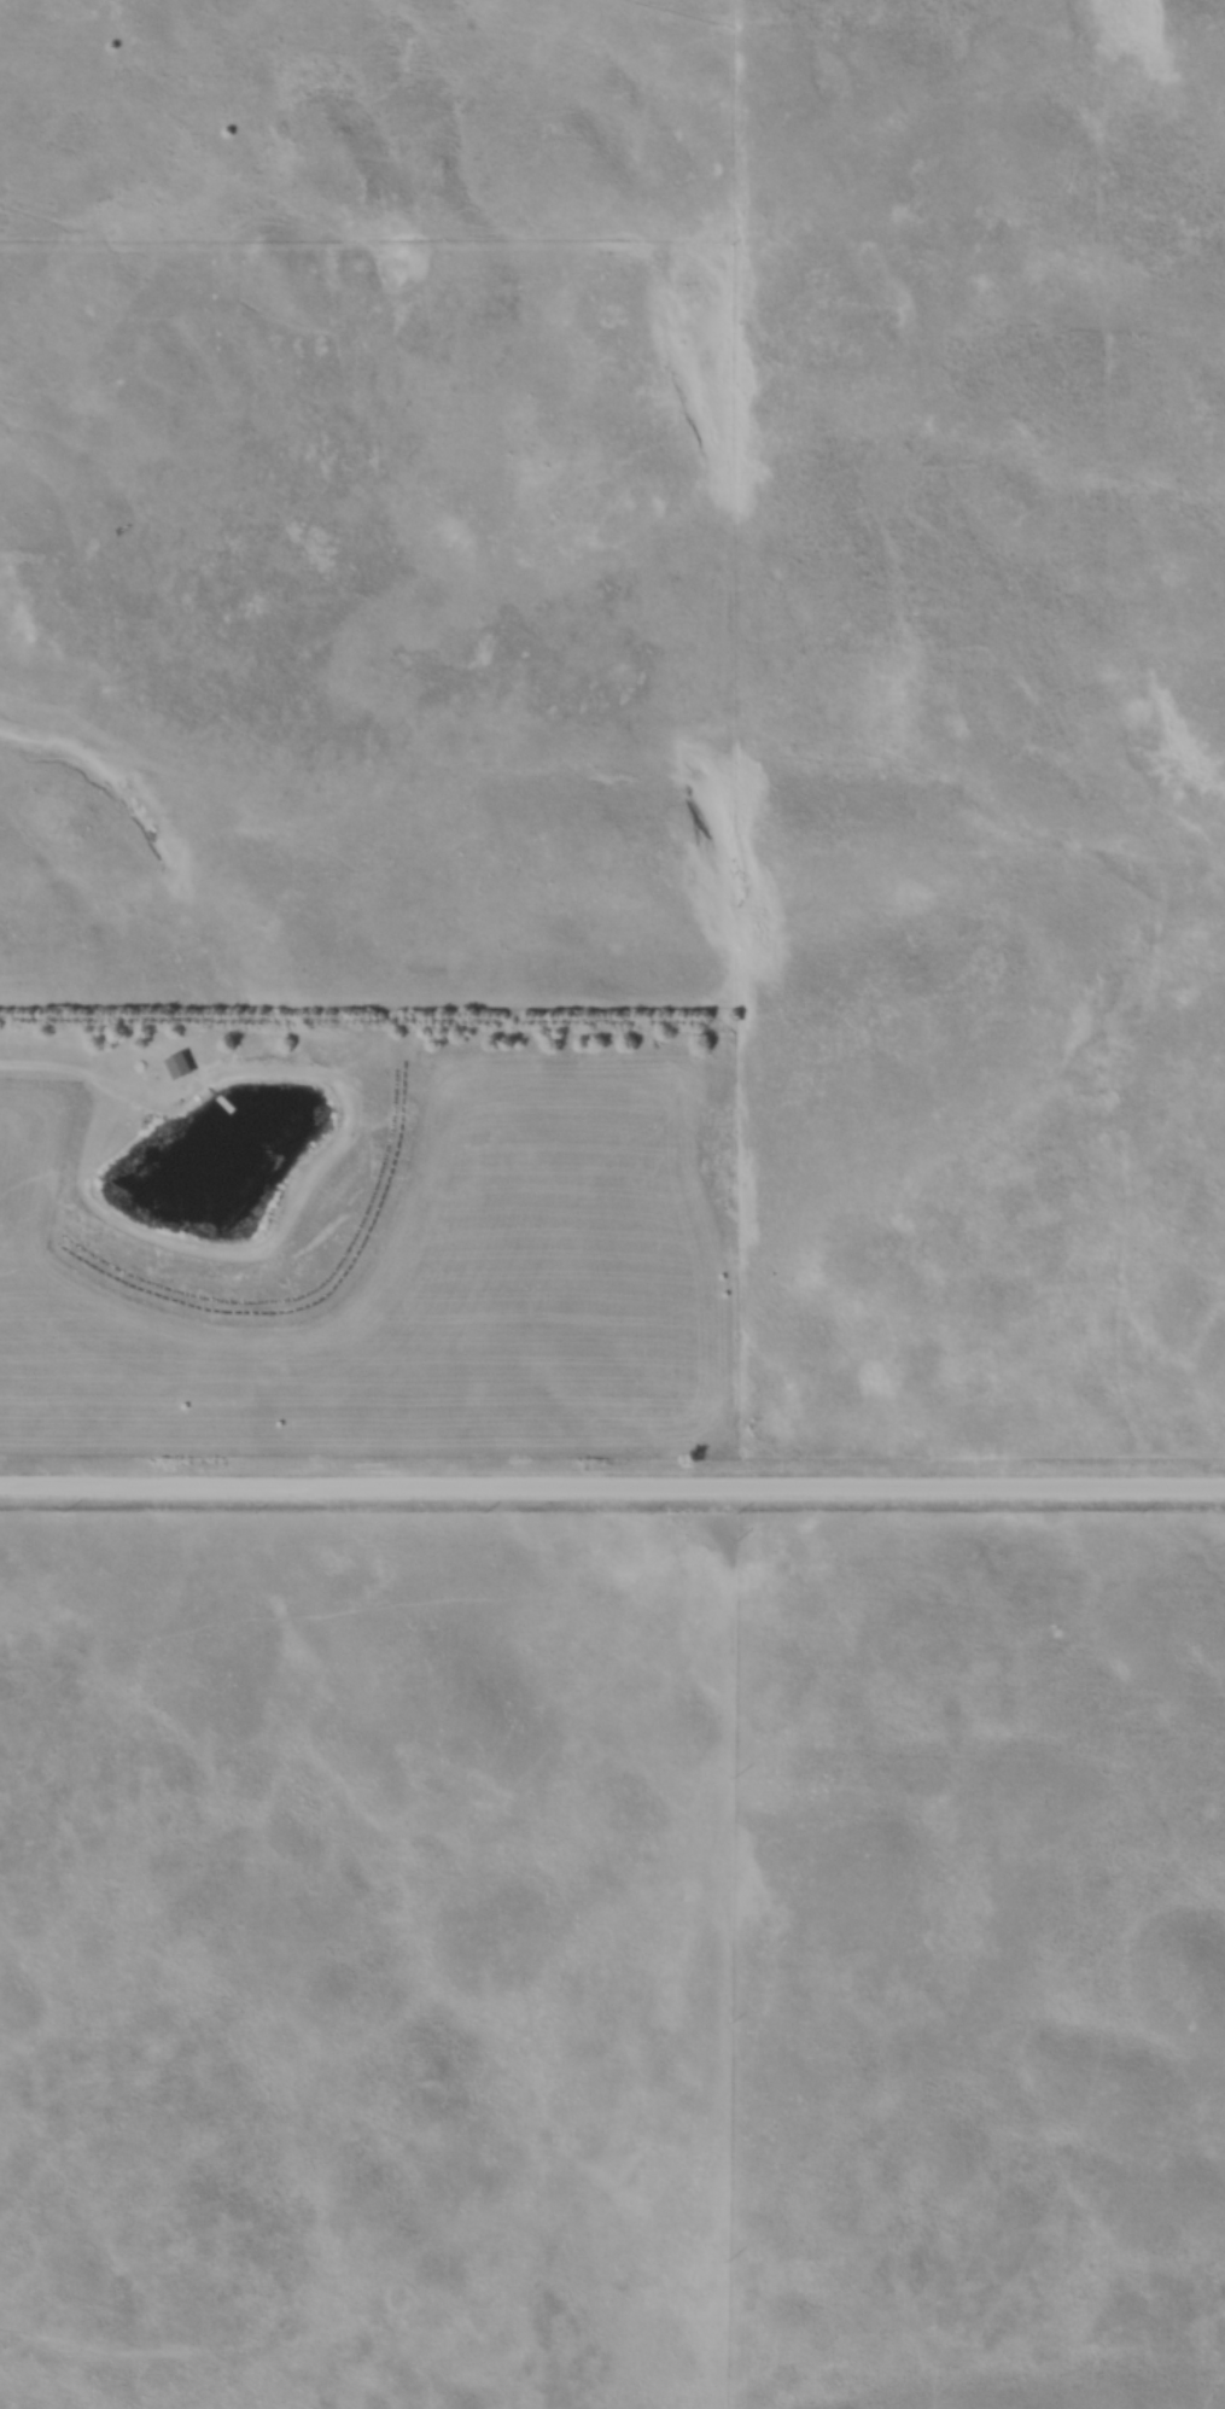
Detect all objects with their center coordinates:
road: (612, 1495)

